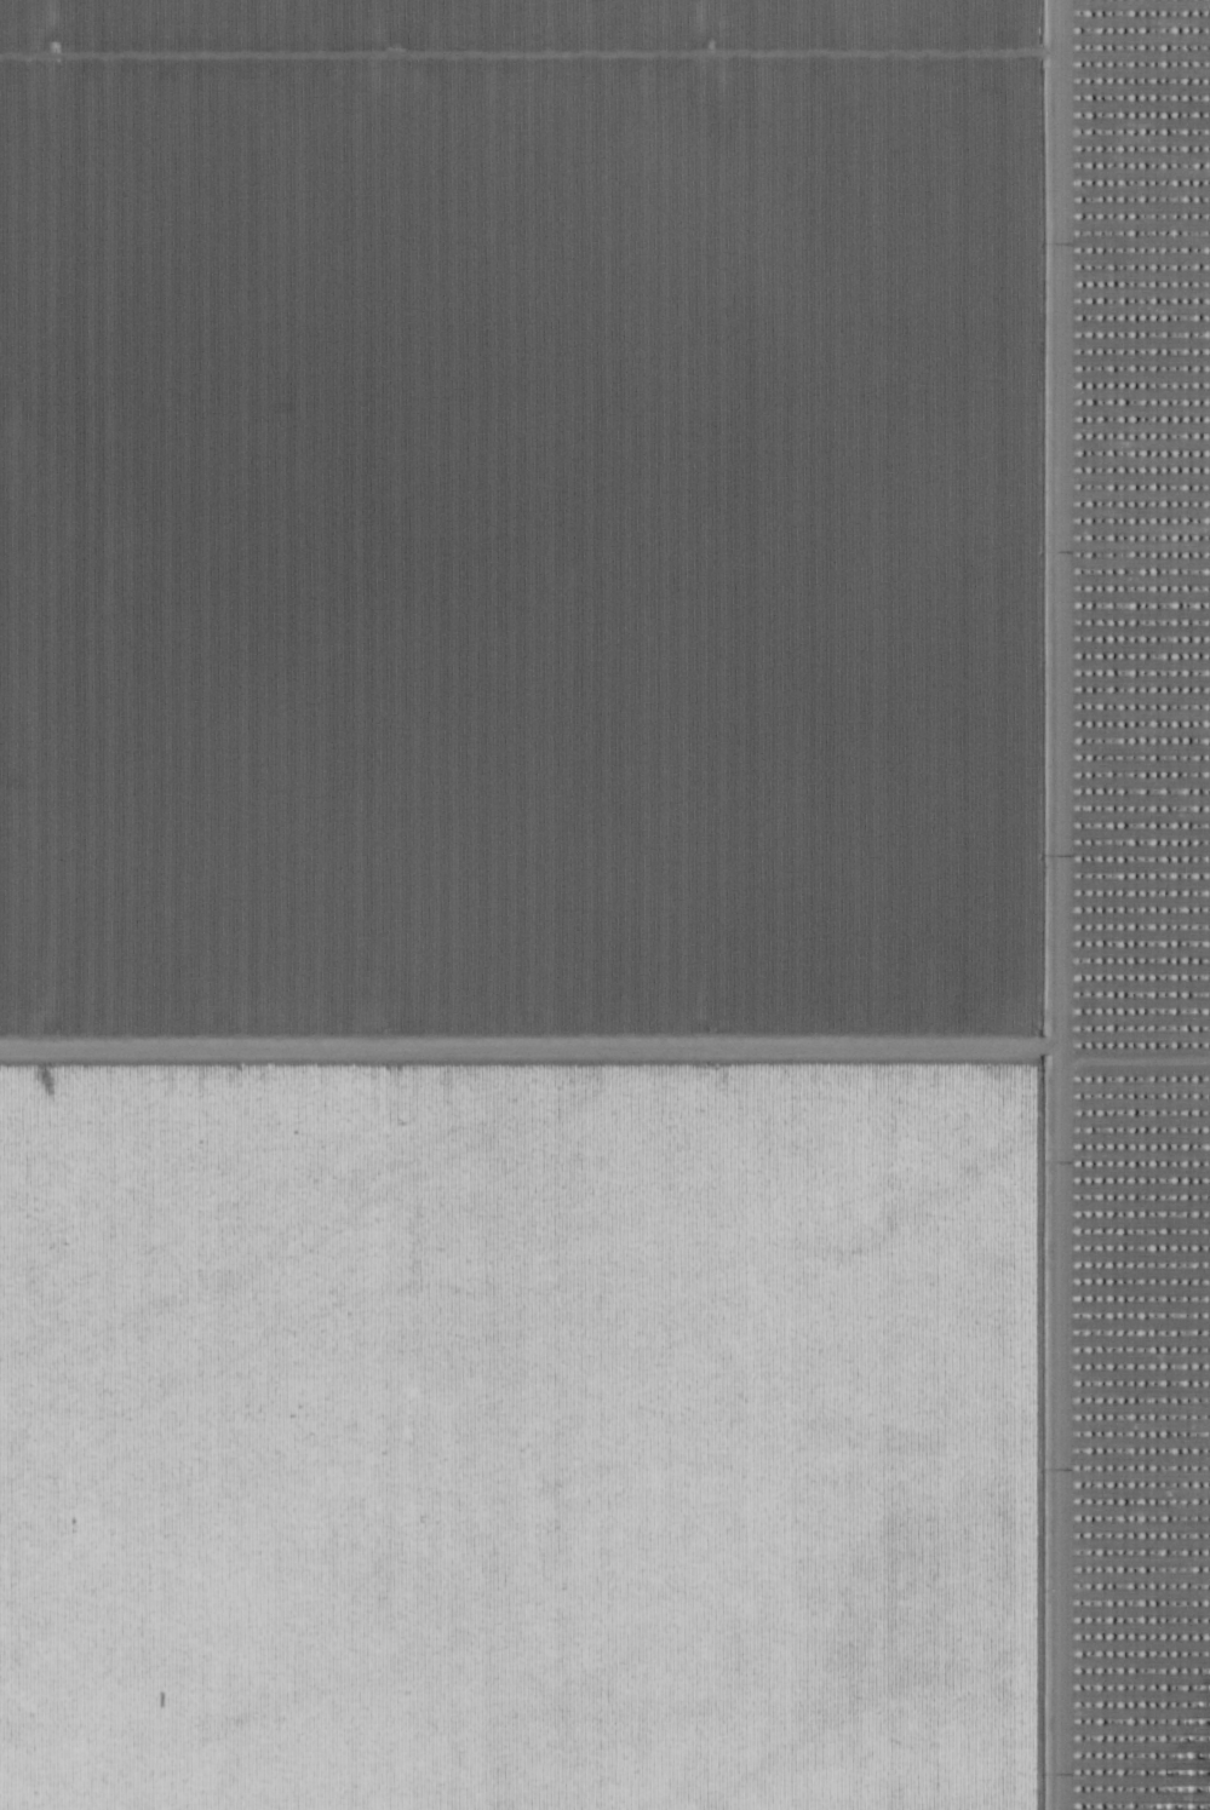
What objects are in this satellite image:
road: (1036, 904)
crop: (535, 906)

